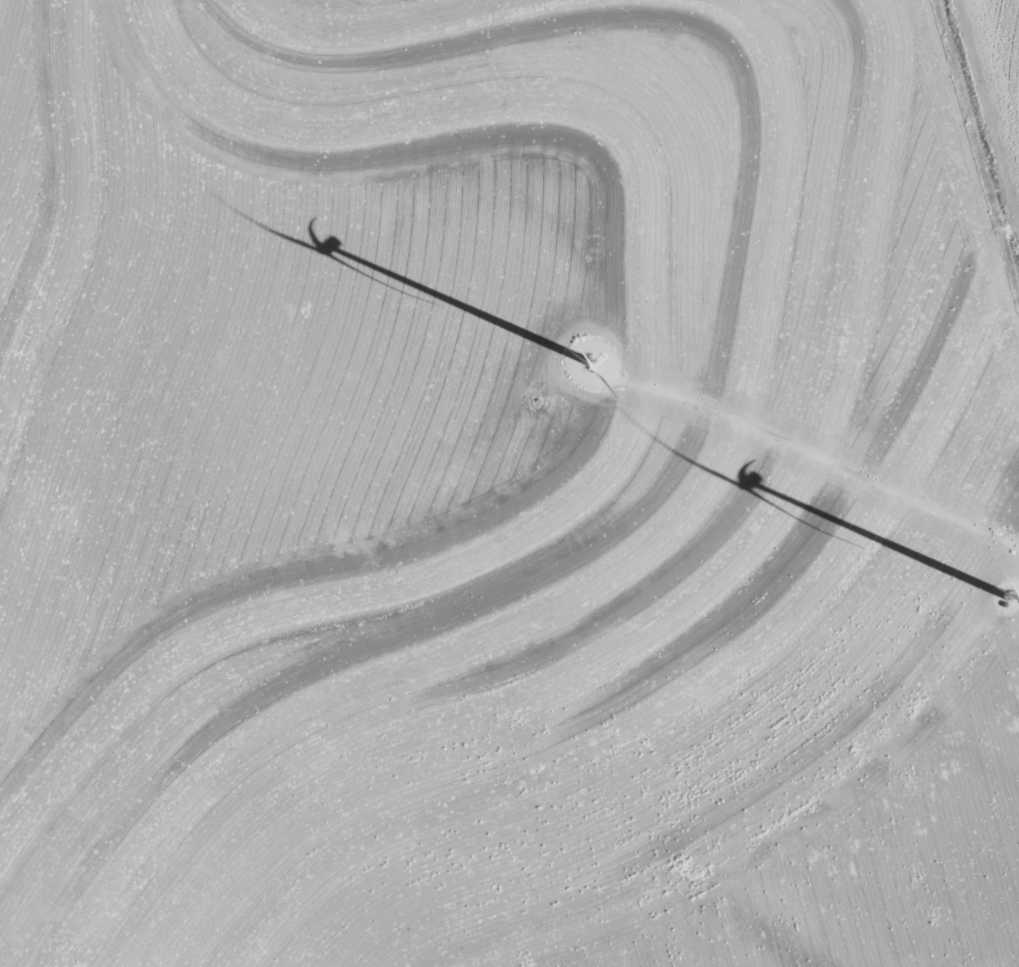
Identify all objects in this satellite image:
wind turbine: (585, 328)
wind turbine: (1001, 583)

